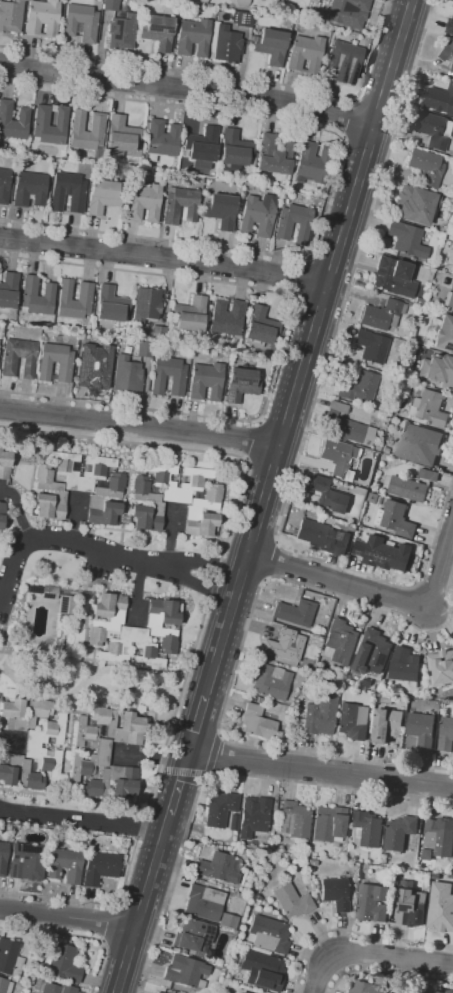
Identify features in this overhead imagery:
building: (241, 2)
building: (109, 5)
building: (347, 13)
building: (10, 16)
building: (42, 18)
building: (243, 19)
building: (80, 23)
building: (450, 26)
building: (157, 31)
building: (120, 32)
building: (193, 37)
building: (225, 44)
building: (271, 46)
building: (447, 52)
building: (305, 54)
building: (343, 62)
building: (452, 69)
road: (230, 76)
road: (188, 89)
building: (440, 98)
road: (377, 109)
road: (345, 119)
building: (13, 121)
building: (50, 124)
building: (435, 129)
building: (87, 132)
building: (121, 136)
building: (160, 140)
road: (366, 141)
building: (201, 147)
building: (234, 151)
building: (273, 155)
building: (312, 163)
building: (425, 165)
road: (332, 183)
building: (4, 185)
building: (29, 189)
building: (67, 192)
building: (241, 194)
building: (102, 195)
building: (143, 202)
building: (414, 204)
building: (179, 205)
building: (220, 210)
building: (256, 217)
building: (283, 228)
building: (406, 240)
building: (452, 251)
road: (164, 261)
building: (393, 277)
road: (298, 281)
building: (8, 292)
building: (84, 292)
building: (36, 296)
building: (448, 298)
building: (410, 304)
building: (146, 305)
building: (110, 306)
building: (382, 315)
building: (190, 316)
building: (227, 317)
building: (261, 327)
building: (157, 334)
building: (444, 334)
road: (285, 343)
building: (371, 346)
building: (126, 349)
building: (144, 349)
road: (308, 349)
building: (185, 351)
building: (8, 367)
building: (93, 367)
building: (63, 369)
building: (438, 371)
building: (126, 375)
building: (168, 376)
building: (205, 381)
building: (240, 384)
building: (359, 387)
road: (315, 396)
building: (337, 407)
building: (429, 408)
road: (139, 426)
building: (346, 429)
road: (246, 440)
building: (418, 444)
building: (377, 449)
building: (339, 458)
building: (4, 465)
building: (429, 474)
building: (92, 483)
building: (406, 487)
building: (58, 493)
building: (329, 496)
building: (373, 497)
building: (175, 498)
road: (18, 511)
building: (1, 513)
road: (74, 518)
building: (396, 519)
building: (124, 520)
road: (171, 535)
building: (323, 537)
road: (98, 549)
building: (384, 553)
road: (271, 560)
road: (380, 592)
road: (138, 593)
road: (2, 594)
building: (60, 597)
building: (295, 613)
road: (202, 620)
building: (133, 631)
building: (341, 642)
building: (284, 647)
road: (240, 650)
building: (372, 652)
building: (405, 666)
building: (442, 667)
building: (270, 681)
building: (367, 682)
building: (385, 698)
building: (11, 715)
building: (318, 717)
building: (353, 720)
building: (257, 722)
building: (387, 724)
building: (119, 725)
road: (195, 727)
building: (422, 728)
building: (446, 734)
road: (12, 742)
building: (32, 746)
building: (102, 750)
road: (150, 757)
road: (320, 768)
building: (18, 772)
road: (216, 773)
building: (112, 782)
road: (178, 786)
building: (219, 809)
building: (253, 816)
building: (294, 820)
road: (82, 821)
building: (234, 823)
building: (329, 824)
building: (368, 828)
building: (400, 832)
building: (438, 838)
building: (384, 855)
building: (3, 857)
building: (384, 861)
building: (26, 862)
building: (312, 863)
building: (64, 865)
building: (99, 868)
building: (219, 868)
building: (316, 886)
building: (244, 891)
building: (335, 893)
building: (239, 896)
building: (292, 901)
building: (203, 902)
road: (142, 903)
building: (372, 903)
building: (411, 907)
building: (441, 907)
road: (68, 917)
building: (227, 921)
road: (105, 923)
road: (353, 932)
building: (268, 934)
building: (193, 935)
road: (76, 936)
road: (372, 953)
building: (10, 957)
building: (231, 960)
building: (63, 964)
building: (262, 970)
building: (185, 971)
road: (386, 973)
building: (227, 976)
building: (382, 980)
building: (5, 986)
building: (367, 987)
building: (57, 989)
building: (240, 991)
building: (440, 991)
building: (450, 991)
building: (159, 992)

